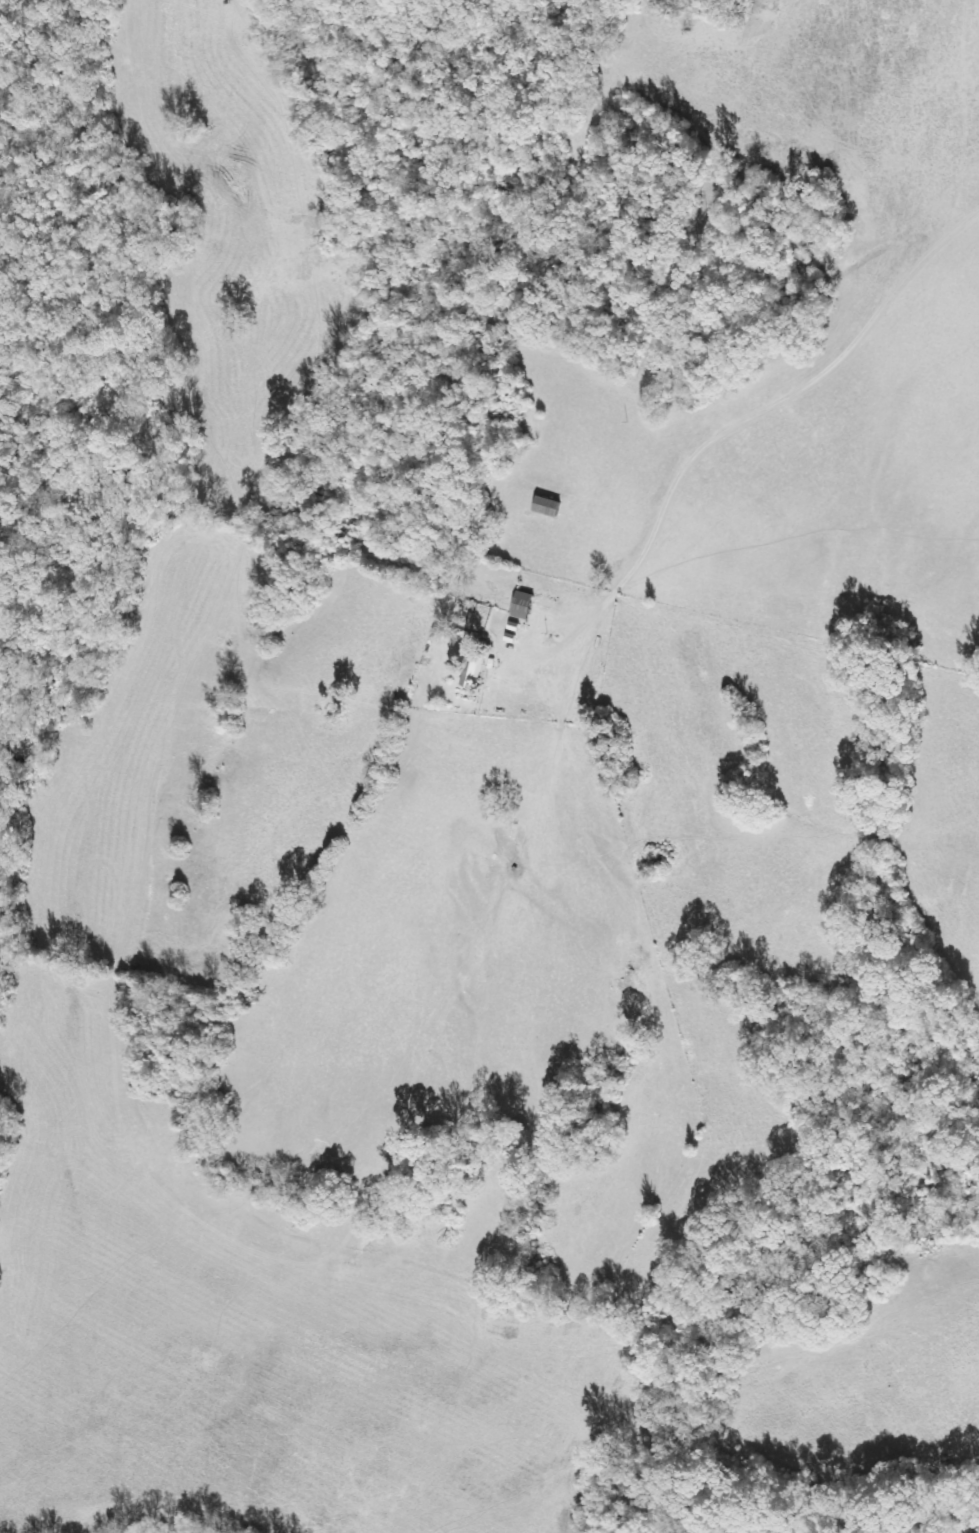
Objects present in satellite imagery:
road: (728, 375)
building: (541, 508)

